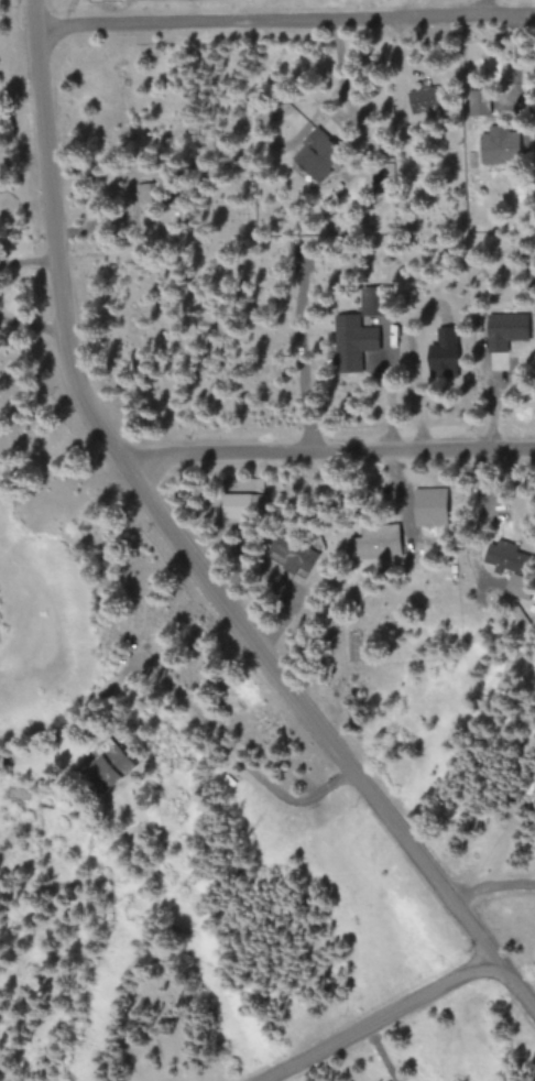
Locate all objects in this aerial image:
road: (287, 23)
building: (426, 99)
building: (480, 102)
building: (501, 148)
building: (318, 153)
building: (374, 303)
building: (505, 332)
road: (327, 454)
building: (430, 505)
building: (238, 507)
road: (185, 544)
building: (293, 555)
building: (511, 557)
building: (521, 587)
building: (114, 764)
road: (490, 888)
road: (380, 1022)

